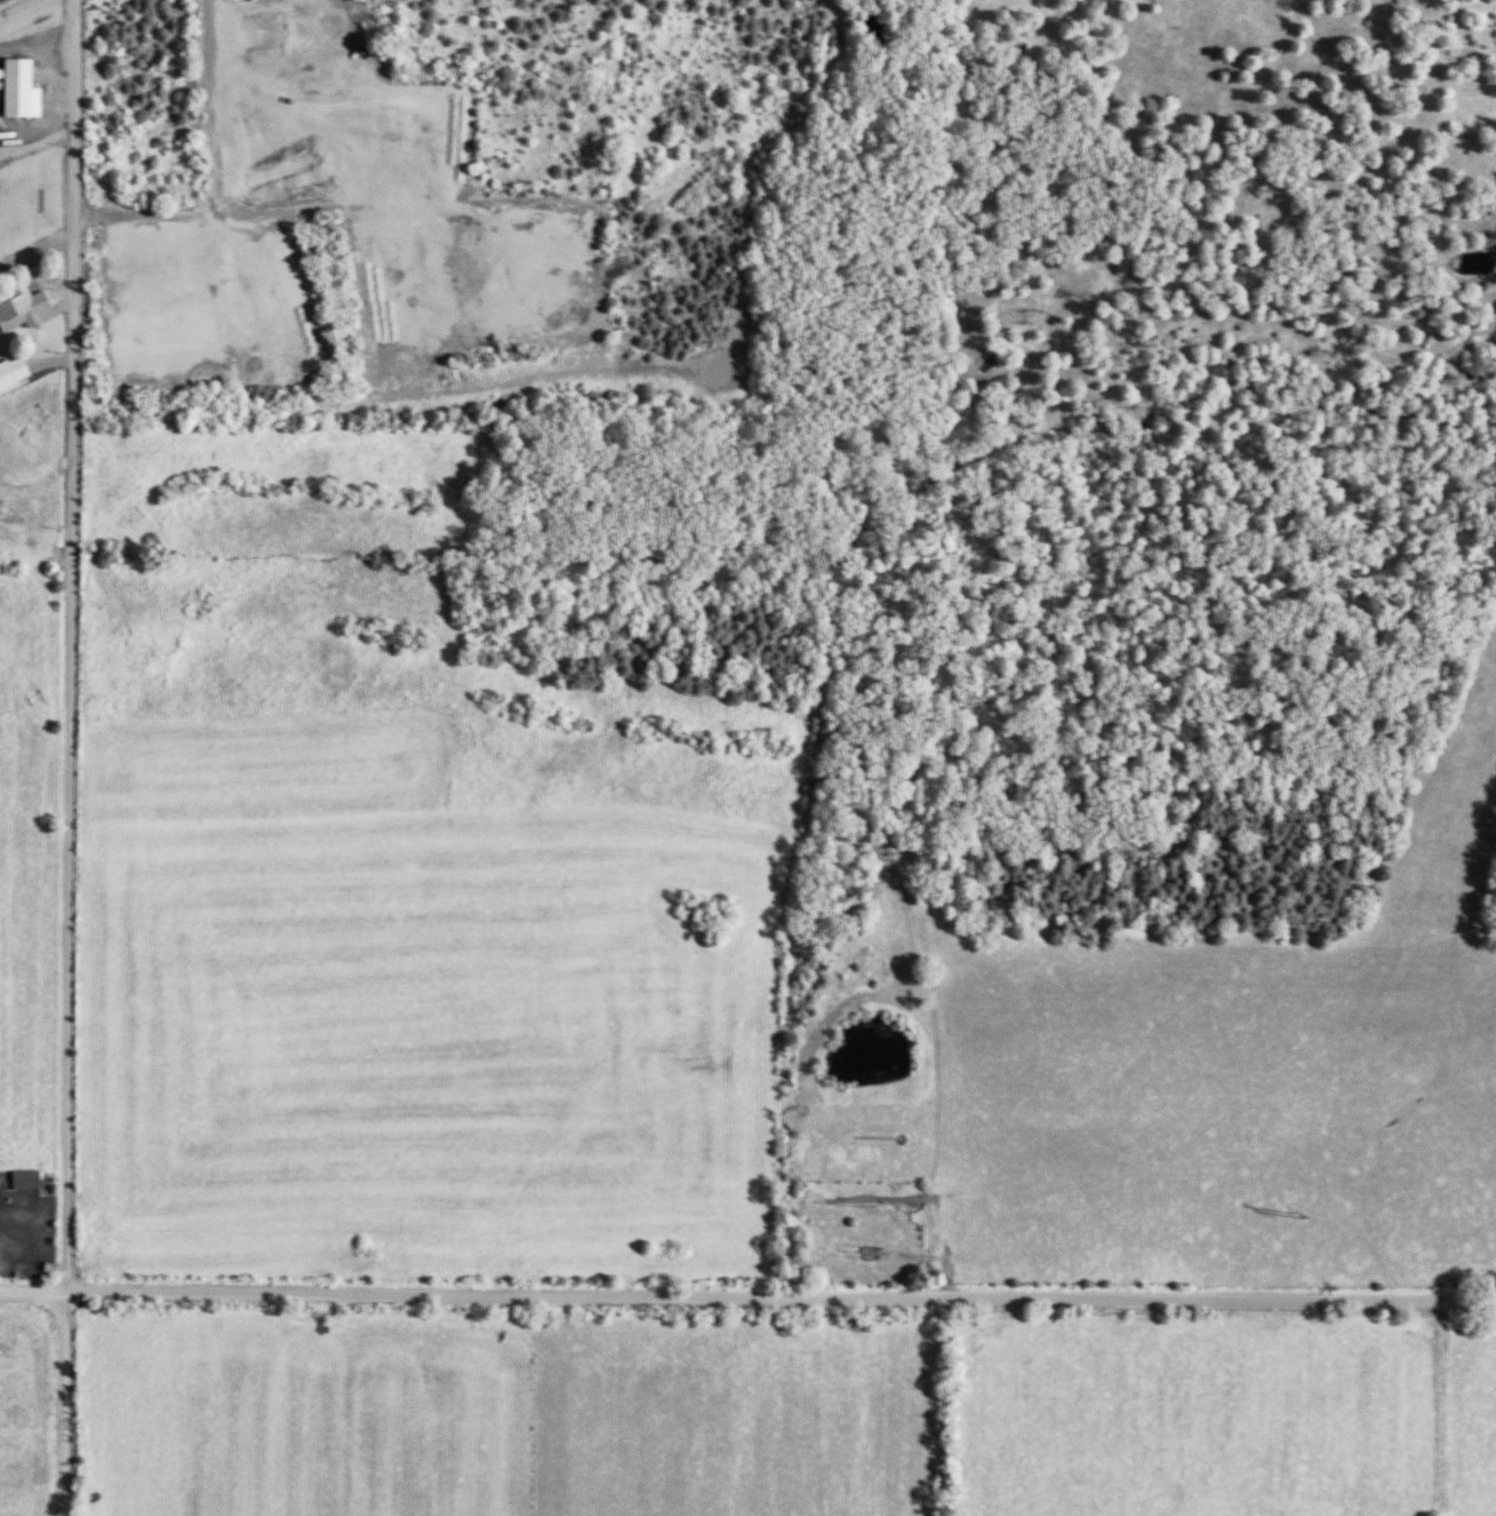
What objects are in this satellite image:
building: (16, 90)
building: (24, 311)
building: (11, 373)
road: (65, 645)
building: (21, 1180)
power tower: (1293, 1212)
road: (33, 1291)
road: (781, 1298)
road: (66, 1404)

